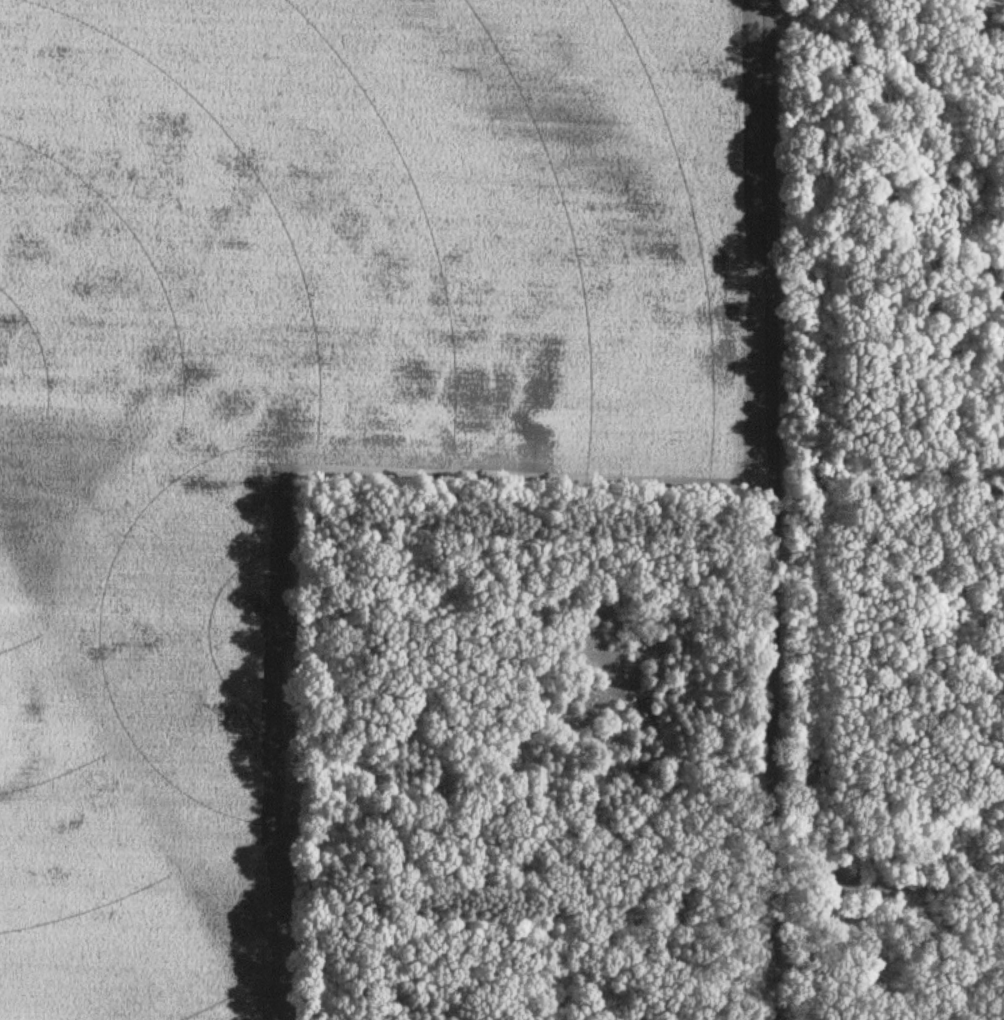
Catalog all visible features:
road: (773, 510)
parking lot: (824, 879)
road: (886, 889)

